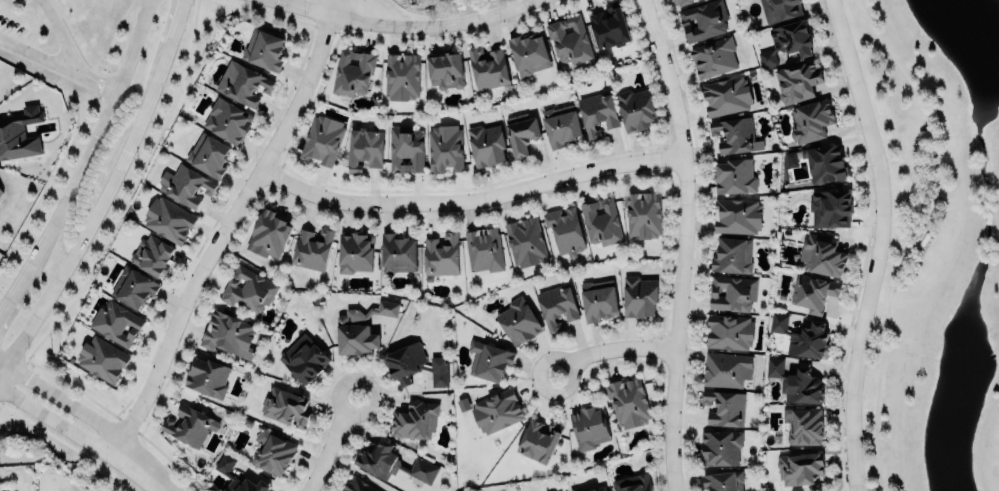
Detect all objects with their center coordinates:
building: (680, 1)
building: (778, 9)
building: (702, 20)
road: (174, 26)
building: (609, 26)
road: (402, 27)
road: (59, 34)
road: (384, 38)
building: (569, 38)
building: (785, 40)
building: (264, 49)
building: (528, 52)
building: (713, 57)
road: (57, 63)
building: (487, 67)
building: (445, 69)
building: (352, 70)
building: (401, 77)
building: (796, 80)
building: (243, 84)
building: (725, 95)
building: (635, 108)
building: (597, 112)
building: (227, 119)
building: (810, 120)
building: (560, 125)
building: (521, 132)
building: (735, 135)
building: (16, 138)
building: (322, 139)
building: (486, 145)
building: (364, 148)
building: (405, 149)
building: (444, 149)
building: (208, 155)
road: (85, 159)
building: (790, 159)
building: (824, 162)
building: (734, 175)
building: (188, 184)
road: (47, 189)
building: (0, 191)
road: (129, 197)
road: (470, 200)
building: (830, 207)
building: (643, 213)
road: (92, 216)
building: (736, 216)
building: (168, 218)
building: (601, 220)
road: (227, 225)
building: (565, 229)
building: (268, 235)
road: (920, 238)
building: (524, 241)
road: (682, 242)
road: (878, 243)
building: (311, 248)
building: (483, 249)
building: (355, 252)
building: (397, 252)
building: (441, 254)
building: (732, 254)
building: (821, 254)
building: (152, 255)
building: (133, 286)
building: (247, 288)
building: (812, 291)
building: (732, 293)
building: (639, 296)
road: (2, 298)
building: (598, 299)
building: (556, 305)
building: (517, 321)
building: (115, 322)
building: (778, 323)
building: (361, 328)
building: (728, 331)
building: (227, 333)
building: (808, 341)
road: (610, 350)
building: (102, 357)
building: (304, 359)
building: (490, 360)
building: (415, 364)
building: (726, 369)
building: (207, 377)
building: (795, 383)
road: (1, 396)
road: (63, 402)
building: (628, 403)
building: (285, 407)
building: (724, 408)
building: (496, 411)
road: (116, 418)
building: (414, 419)
road: (57, 425)
building: (189, 425)
building: (803, 425)
building: (588, 426)
building: (539, 440)
road: (65, 444)
road: (331, 445)
building: (720, 448)
building: (272, 452)
building: (390, 461)
building: (799, 467)
road: (142, 469)
building: (235, 476)
building: (722, 480)
building: (632, 483)
building: (357, 485)
building: (597, 488)
building: (573, 489)

